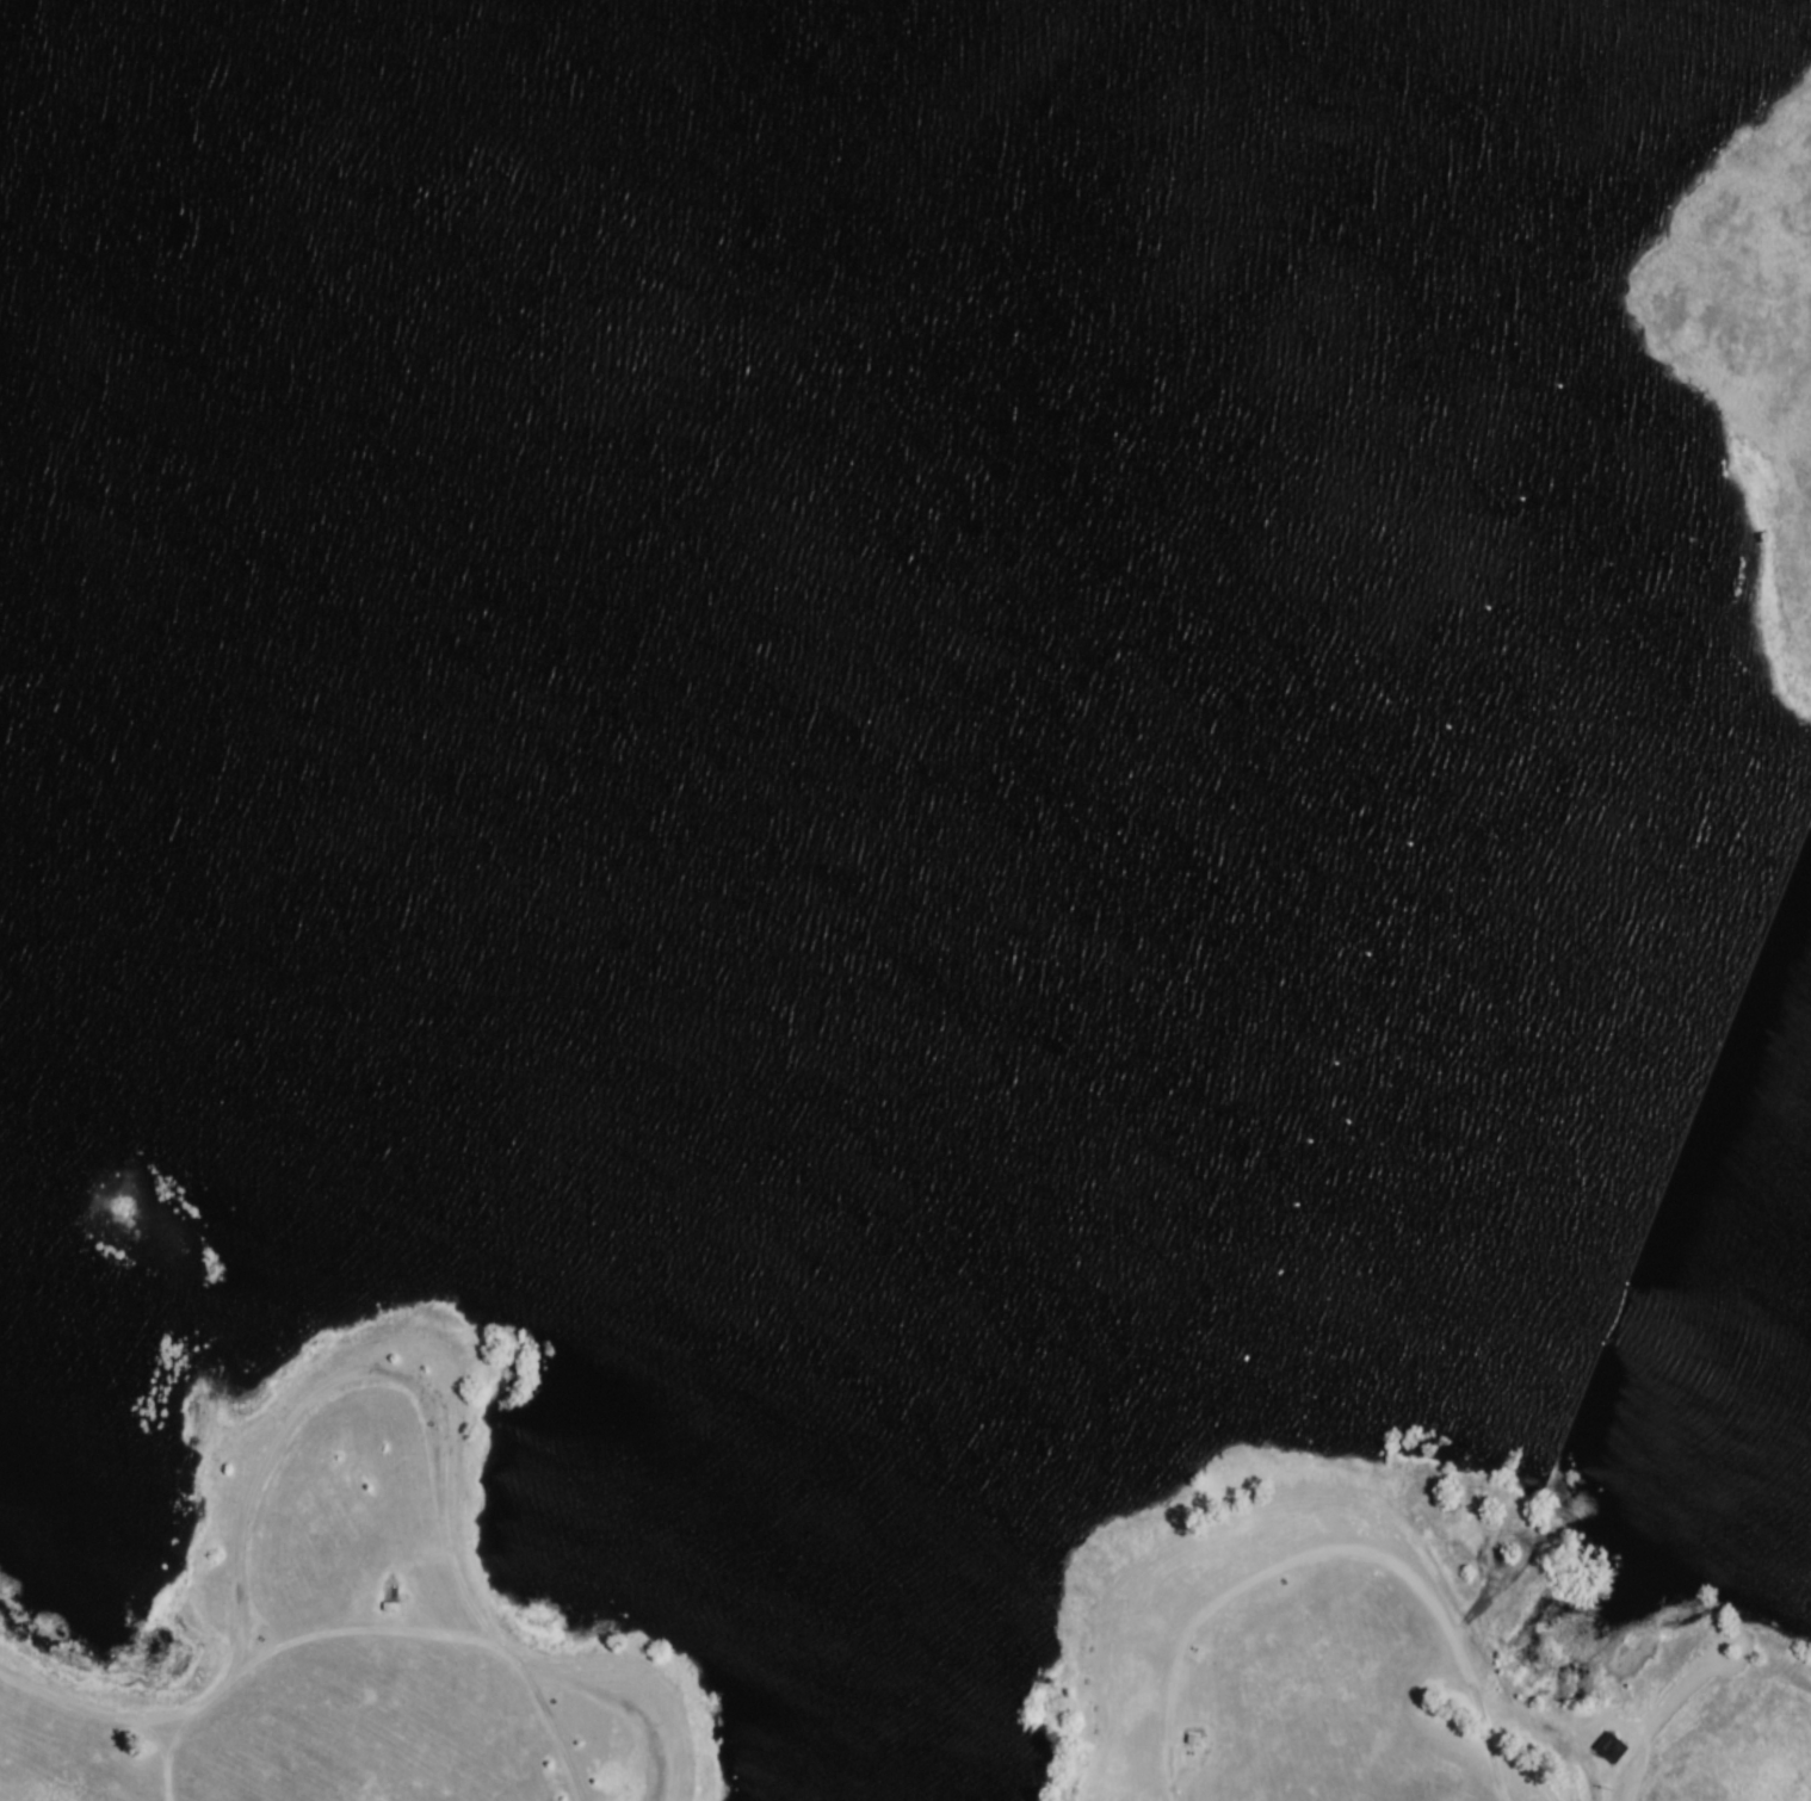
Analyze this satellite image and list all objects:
road: (1324, 1549)
building: (1607, 1746)

